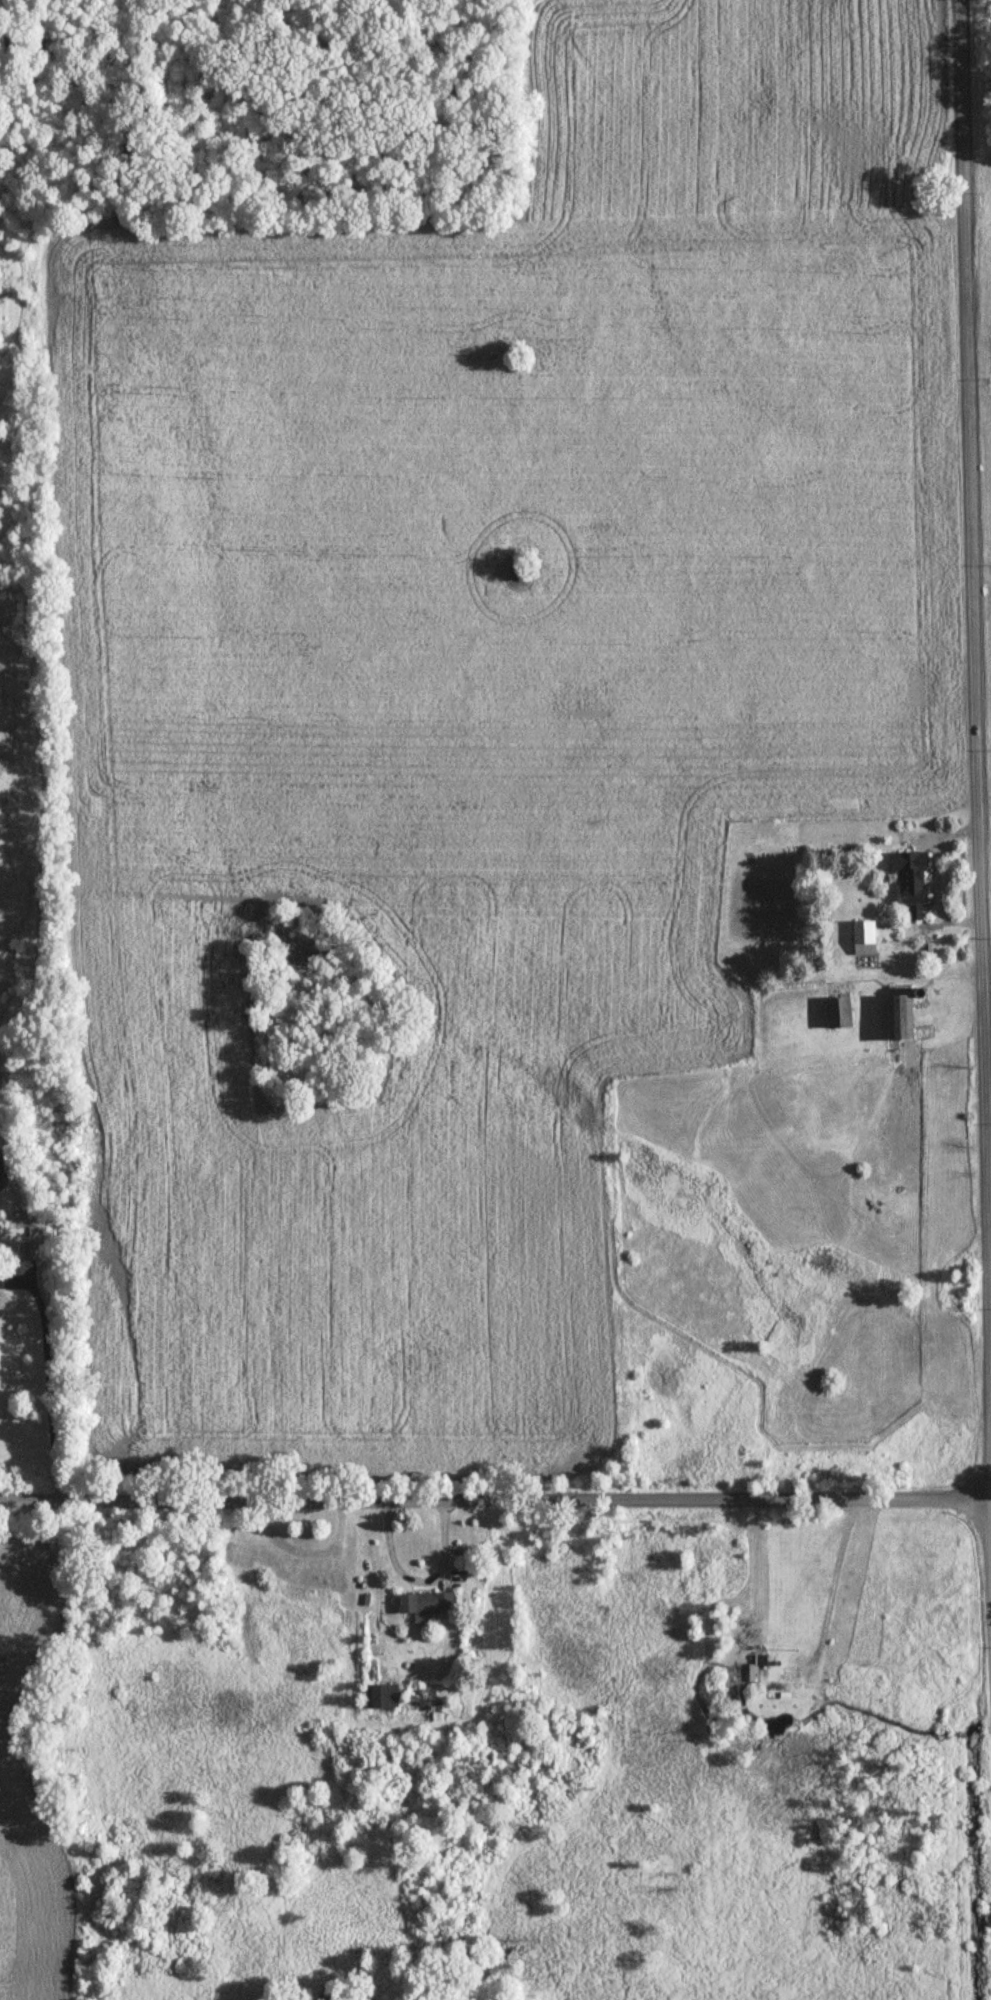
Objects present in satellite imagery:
road: (972, 746)
road: (939, 871)
building: (909, 879)
building: (862, 940)
building: (836, 1015)
building: (897, 1016)
building: (29, 1252)
road: (49, 1382)
road: (495, 1495)
road: (420, 1579)
building: (316, 1580)
building: (425, 1603)
building: (379, 1697)

